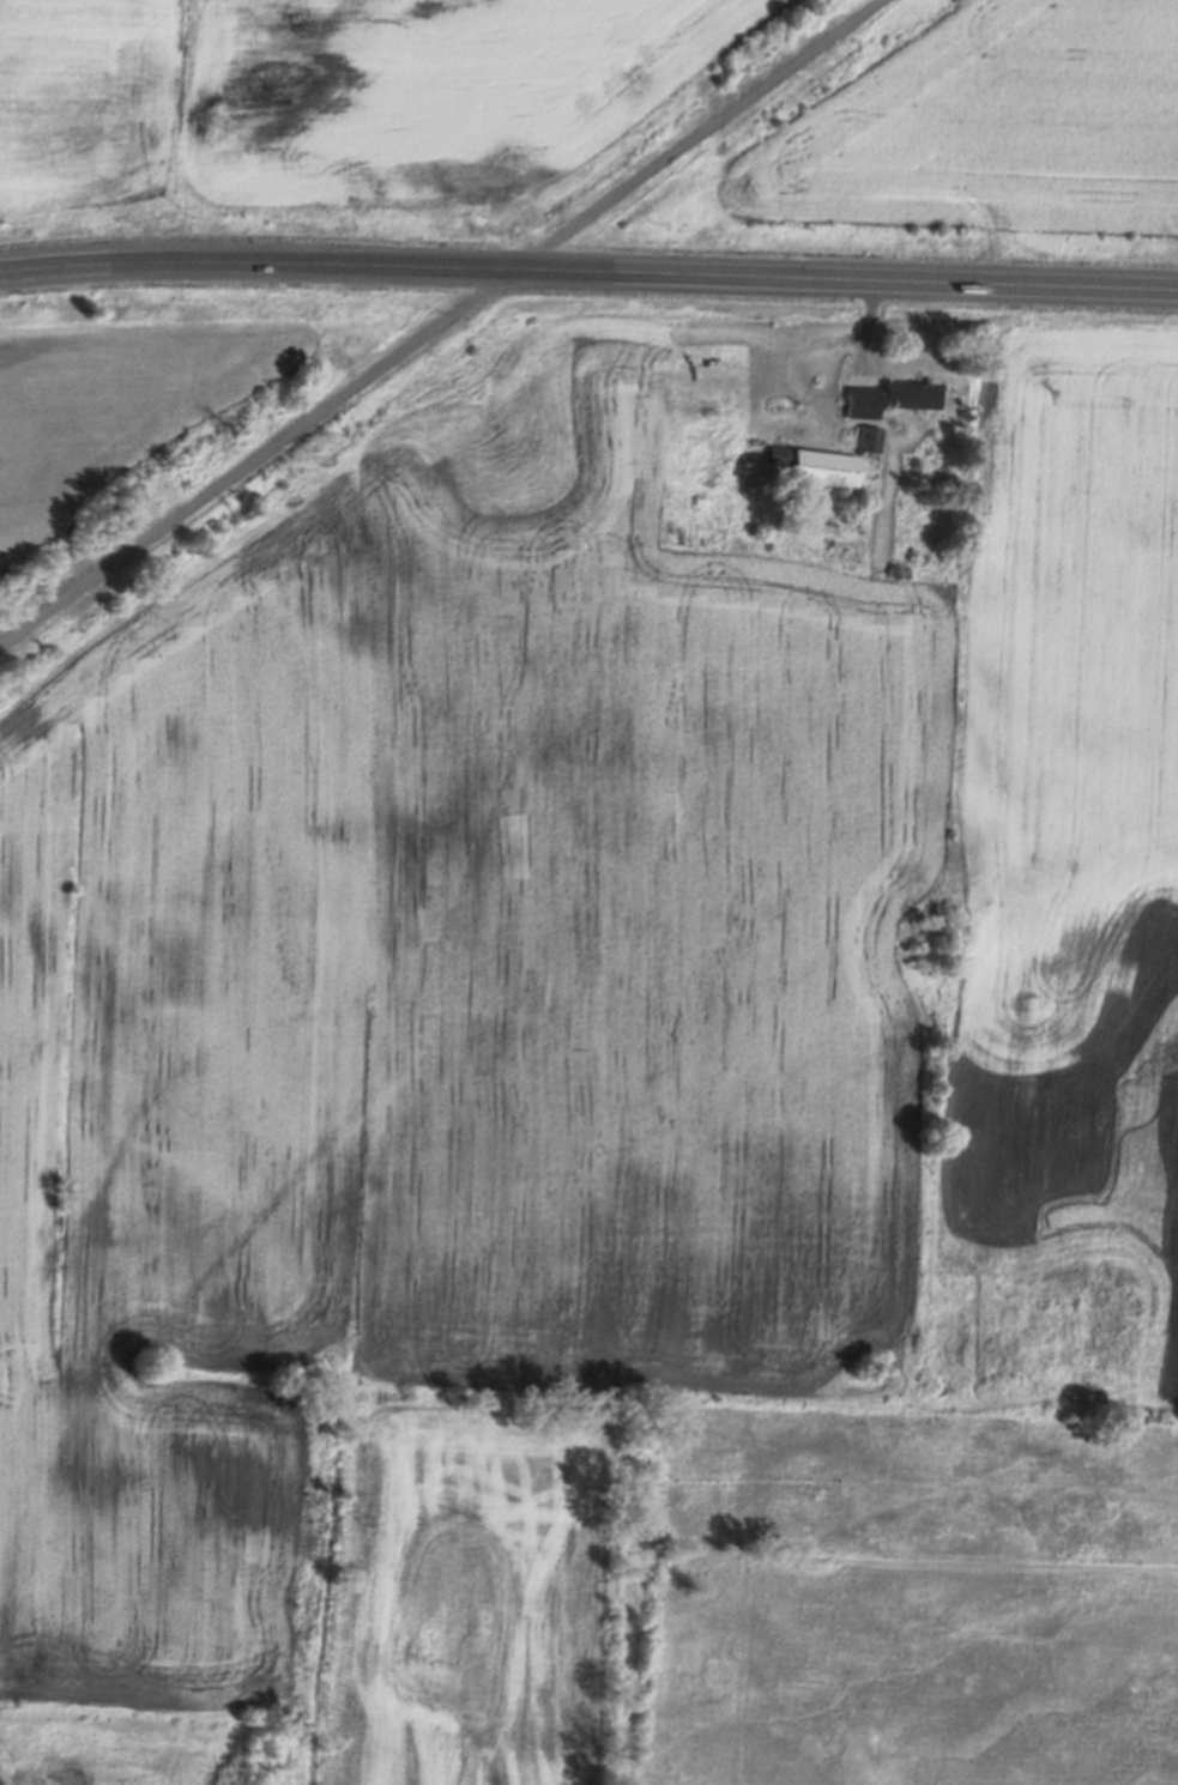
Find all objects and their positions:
road: (588, 270)
road: (439, 321)
building: (889, 401)
building: (869, 442)
building: (816, 470)
crop: (600, 1132)

